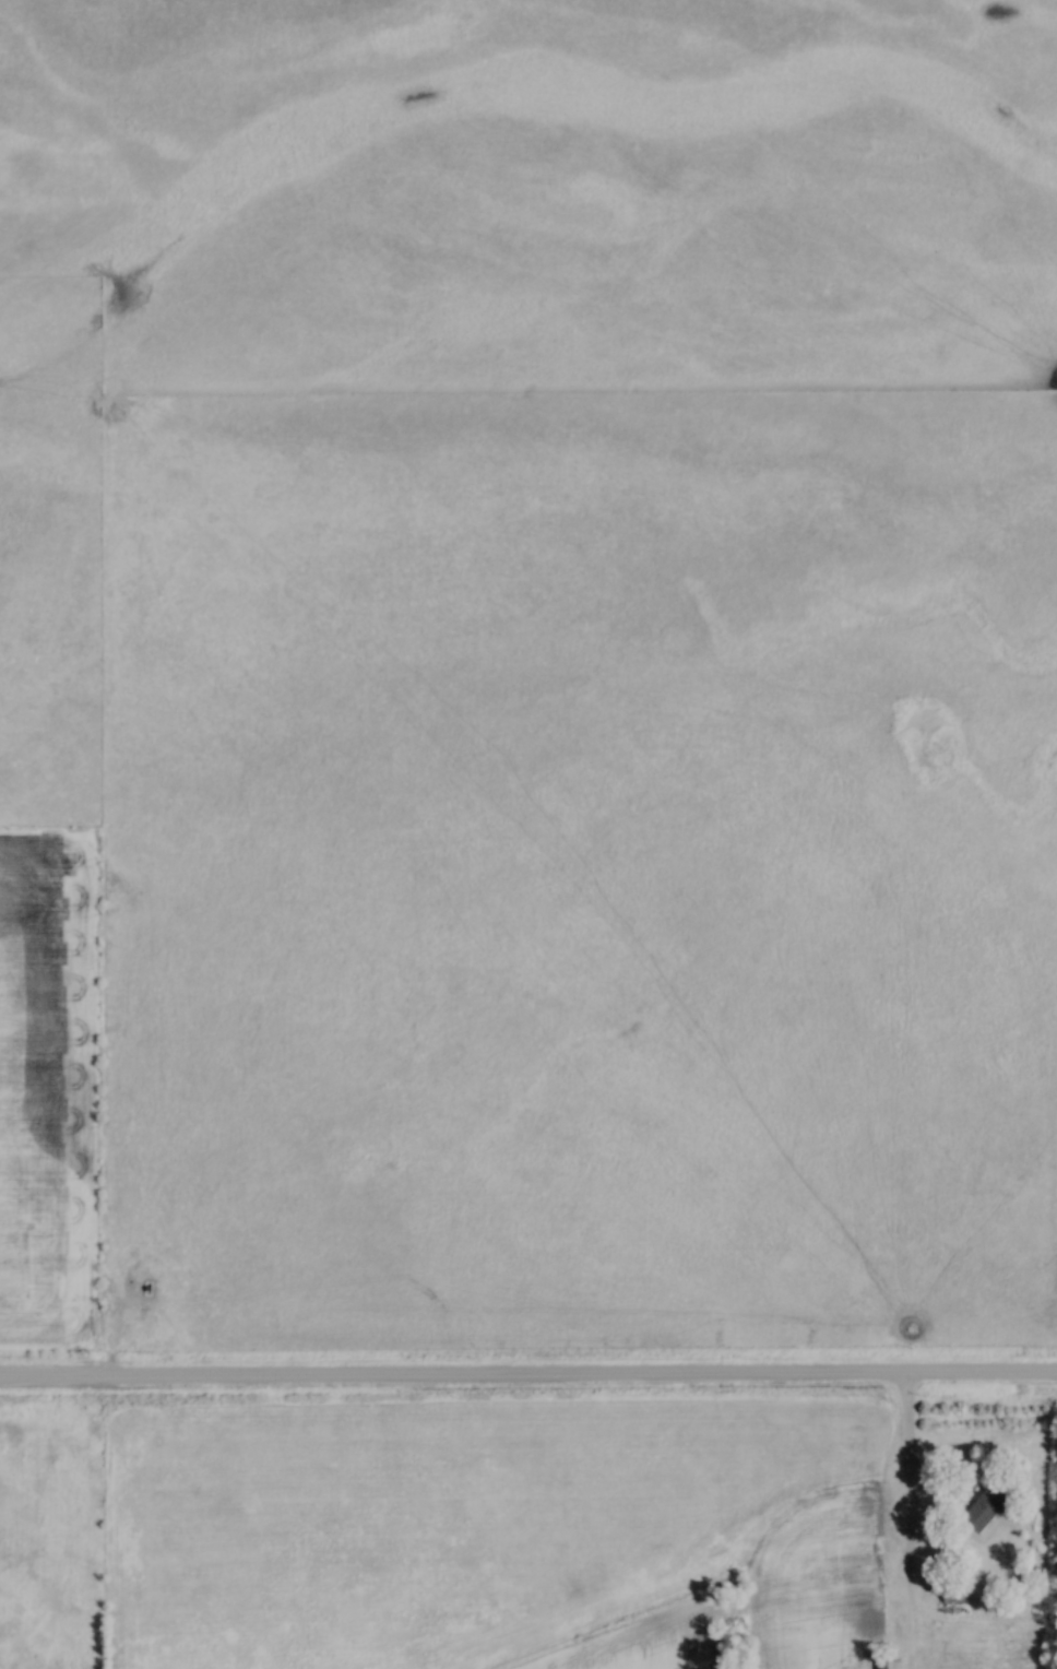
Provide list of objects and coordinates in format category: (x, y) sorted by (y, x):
road: (528, 1381)
building: (857, 1505)
road: (907, 1507)
building: (988, 1511)
building: (955, 1596)
building: (999, 1622)

